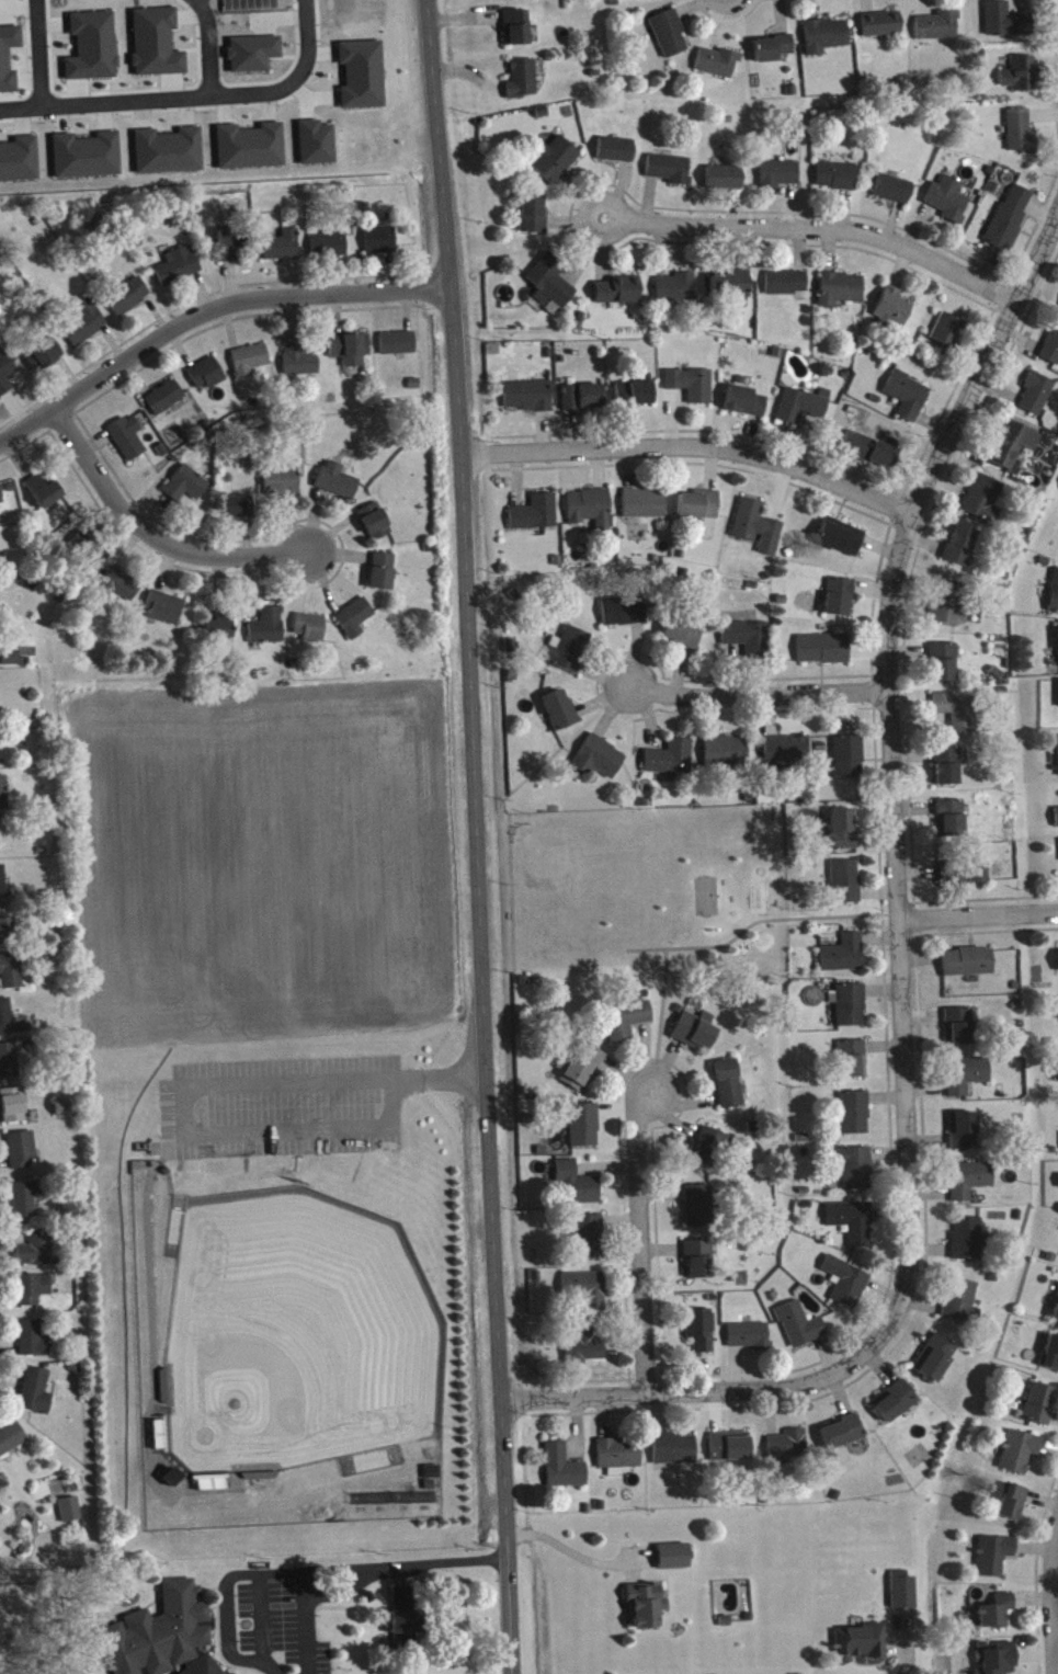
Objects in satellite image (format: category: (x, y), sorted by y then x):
building: (83, 0)
building: (652, 0)
building: (1006, 25)
building: (883, 30)
building: (938, 31)
building: (517, 33)
road: (303, 38)
building: (670, 39)
building: (827, 41)
road: (206, 43)
building: (157, 48)
road: (36, 49)
building: (93, 52)
building: (773, 54)
building: (254, 59)
building: (9, 62)
building: (718, 67)
building: (363, 80)
building: (1022, 80)
building: (523, 84)
road: (149, 92)
building: (1022, 137)
building: (317, 149)
building: (251, 152)
building: (616, 156)
building: (169, 157)
building: (88, 161)
building: (556, 164)
building: (20, 166)
building: (671, 174)
building: (780, 179)
building: (837, 181)
building: (725, 183)
building: (895, 194)
building: (949, 204)
building: (534, 220)
building: (1011, 223)
road: (818, 234)
building: (380, 244)
building: (232, 251)
building: (283, 251)
building: (330, 251)
building: (179, 271)
building: (551, 287)
building: (787, 288)
building: (732, 291)
building: (678, 293)
building: (842, 294)
building: (619, 296)
building: (129, 301)
road: (206, 312)
building: (895, 312)
building: (86, 328)
building: (948, 338)
building: (398, 349)
building: (1051, 352)
building: (351, 354)
building: (44, 360)
building: (300, 363)
building: (250, 365)
building: (5, 379)
building: (207, 379)
building: (693, 389)
building: (637, 396)
building: (1037, 399)
building: (909, 400)
building: (528, 401)
building: (166, 402)
building: (584, 402)
building: (747, 407)
building: (804, 411)
building: (128, 443)
road: (690, 449)
building: (1014, 452)
building: (877, 457)
building: (338, 486)
building: (282, 487)
building: (186, 490)
building: (45, 497)
building: (1, 501)
building: (985, 504)
building: (645, 510)
building: (701, 511)
building: (239, 512)
building: (591, 513)
building: (536, 519)
building: (375, 526)
building: (759, 532)
road: (155, 540)
building: (842, 543)
building: (962, 550)
building: (95, 561)
building: (383, 577)
building: (121, 590)
building: (1055, 600)
building: (841, 603)
building: (951, 608)
building: (166, 613)
building: (624, 616)
building: (355, 624)
building: (220, 630)
building: (269, 633)
building: (311, 633)
building: (683, 637)
building: (824, 653)
building: (569, 654)
building: (12, 663)
building: (944, 668)
road: (759, 699)
building: (560, 716)
building: (957, 717)
building: (787, 755)
building: (727, 760)
building: (600, 763)
building: (671, 763)
building: (850, 763)
road: (894, 771)
building: (948, 772)
building: (4, 798)
building: (1056, 822)
building: (952, 823)
building: (843, 834)
road: (475, 836)
building: (976, 877)
building: (846, 887)
building: (3, 888)
road: (980, 922)
building: (7, 936)
building: (844, 960)
building: (968, 967)
building: (851, 1011)
building: (628, 1024)
building: (10, 1025)
building: (959, 1032)
building: (695, 1036)
building: (853, 1064)
building: (9, 1067)
building: (583, 1073)
building: (967, 1081)
road: (194, 1087)
building: (729, 1089)
building: (13, 1111)
building: (855, 1118)
building: (584, 1130)
building: (965, 1136)
building: (713, 1152)
building: (22, 1154)
building: (857, 1174)
building: (970, 1185)
building: (577, 1189)
building: (26, 1204)
building: (698, 1211)
building: (853, 1227)
building: (589, 1242)
road: (639, 1243)
building: (968, 1244)
building: (37, 1255)
building: (699, 1264)
building: (846, 1287)
building: (32, 1295)
building: (587, 1295)
building: (960, 1306)
building: (1056, 1318)
building: (800, 1331)
building: (699, 1336)
building: (750, 1342)
building: (32, 1345)
building: (589, 1350)
building: (1050, 1359)
building: (935, 1363)
building: (35, 1397)
road: (692, 1397)
building: (895, 1407)
building: (1038, 1410)
building: (843, 1438)
building: (11, 1444)
building: (788, 1450)
building: (730, 1453)
building: (675, 1455)
building: (1020, 1457)
building: (619, 1460)
building: (564, 1472)
building: (432, 1481)
building: (173, 1483)
building: (1012, 1507)
building: (69, 1515)
road: (574, 1555)
building: (993, 1561)
building: (673, 1562)
road: (354, 1563)
road: (341, 1587)
building: (903, 1596)
road: (224, 1599)
building: (403, 1603)
road: (1055, 1606)
building: (646, 1612)
building: (997, 1617)
building: (406, 1628)
road: (1057, 1628)
building: (163, 1638)
building: (862, 1648)
road: (901, 1649)

